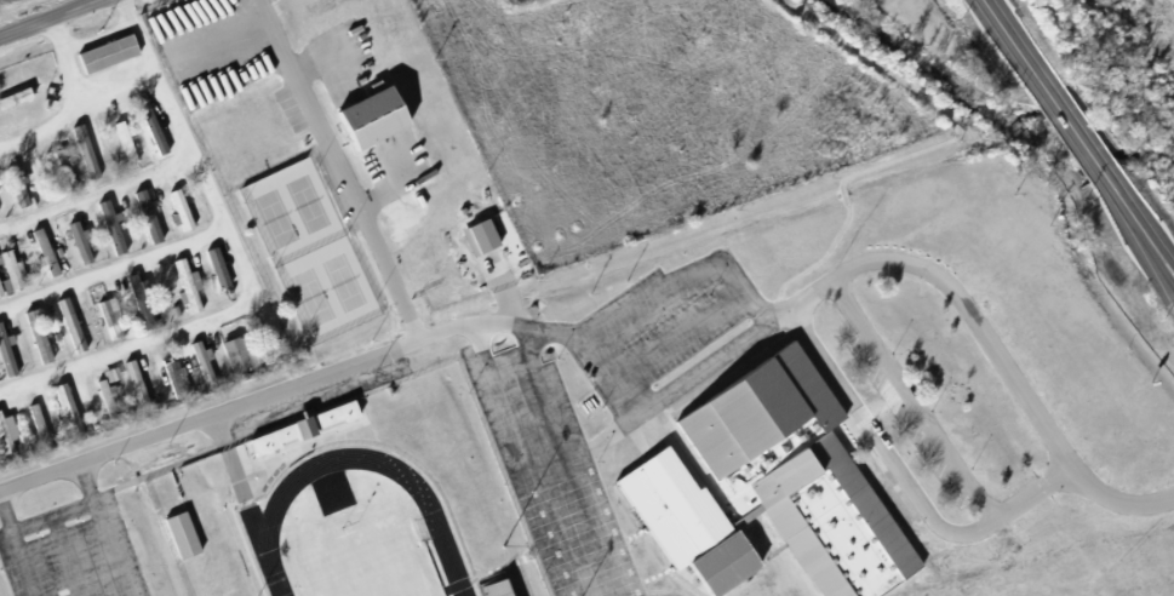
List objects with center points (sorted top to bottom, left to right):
road: (44, 16)
road: (98, 38)
road: (1019, 50)
building: (102, 61)
road: (65, 62)
building: (12, 103)
road: (79, 110)
building: (366, 126)
road: (1078, 136)
building: (128, 139)
building: (86, 150)
building: (118, 150)
road: (932, 150)
building: (79, 160)
building: (19, 183)
building: (12, 190)
road: (97, 190)
building: (183, 207)
building: (151, 214)
building: (176, 217)
building: (114, 223)
building: (142, 223)
road: (1139, 223)
building: (104, 234)
building: (84, 241)
building: (475, 242)
building: (74, 250)
building: (47, 251)
building: (40, 258)
building: (221, 267)
road: (113, 268)
road: (245, 269)
building: (15, 270)
building: (8, 277)
road: (678, 281)
building: (190, 285)
building: (1, 288)
building: (183, 292)
building: (144, 299)
building: (136, 306)
building: (114, 316)
building: (171, 316)
building: (73, 322)
building: (104, 326)
building: (65, 332)
road: (680, 332)
building: (41, 336)
building: (33, 344)
building: (8, 350)
building: (241, 351)
building: (231, 360)
building: (5, 362)
building: (205, 363)
building: (197, 366)
building: (114, 373)
building: (177, 376)
building: (138, 383)
building: (172, 384)
building: (132, 390)
road: (665, 394)
building: (108, 400)
building: (71, 409)
road: (210, 417)
building: (65, 419)
building: (41, 422)
building: (34, 430)
building: (299, 435)
road: (607, 435)
road: (938, 441)
road: (880, 442)
building: (2, 447)
road: (525, 462)
road: (574, 464)
building: (792, 480)
stadium: (343, 504)
road: (52, 517)
road: (103, 529)
building: (681, 529)
building: (179, 541)
road: (16, 548)
road: (68, 556)
building: (502, 586)

